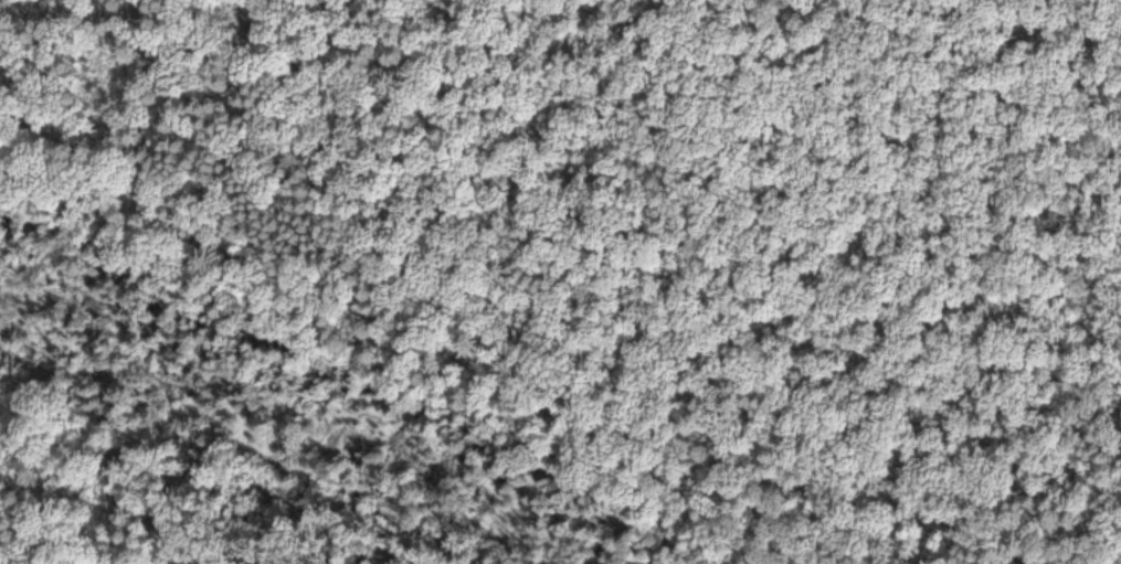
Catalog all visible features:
road: (804, 350)
road: (476, 373)

